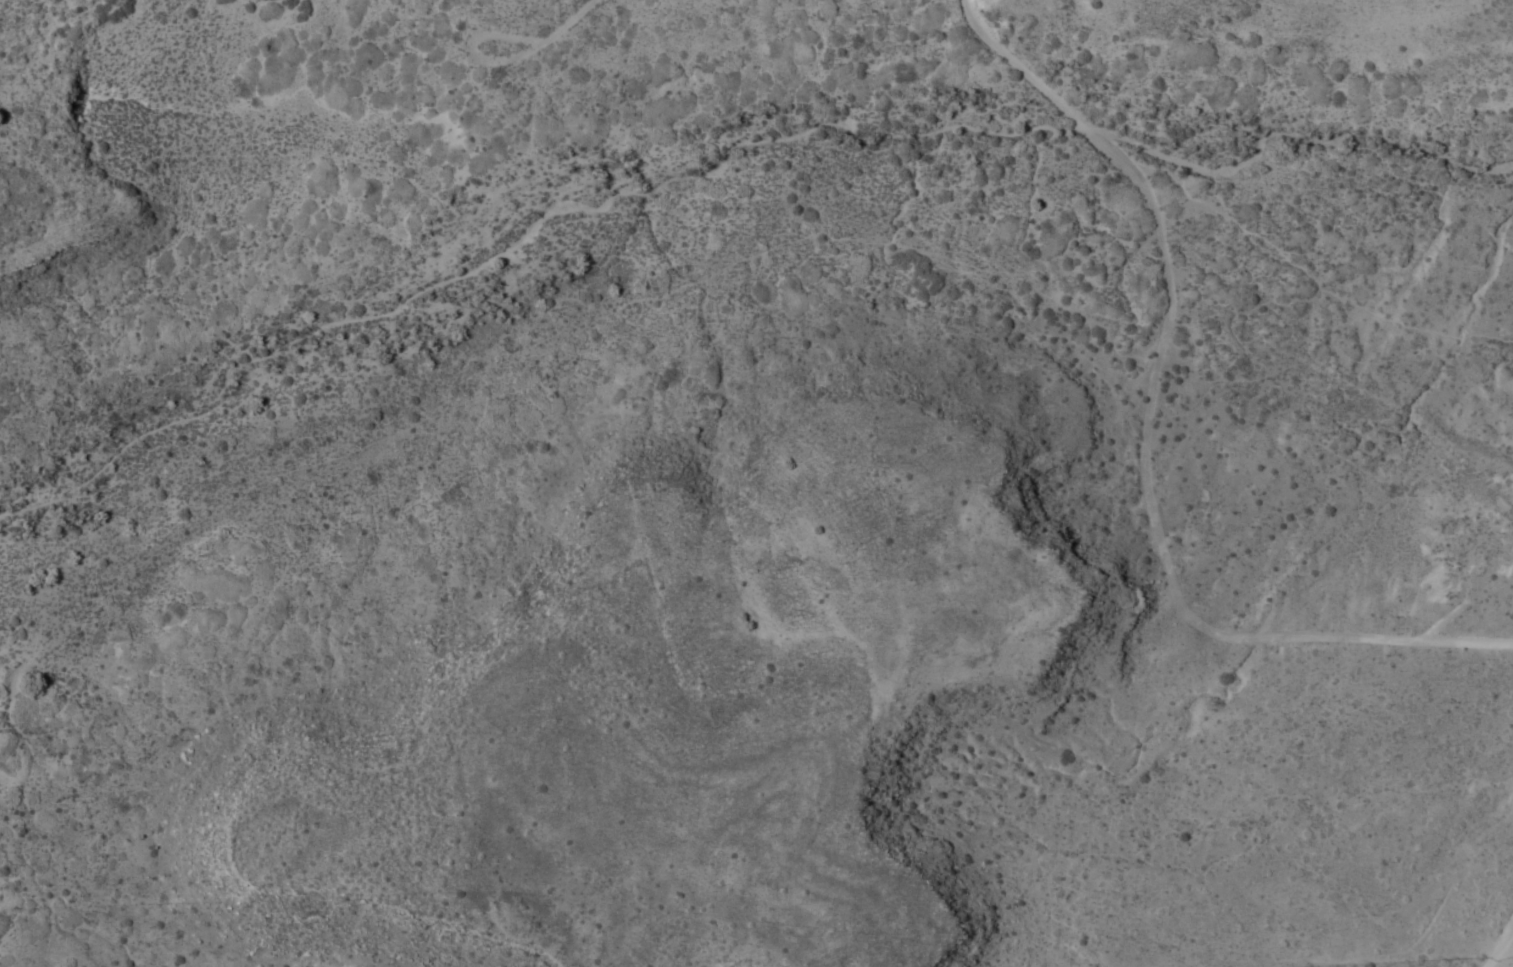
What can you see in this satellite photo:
road: (1115, 567)
building: (1338, 721)
road: (1499, 950)

